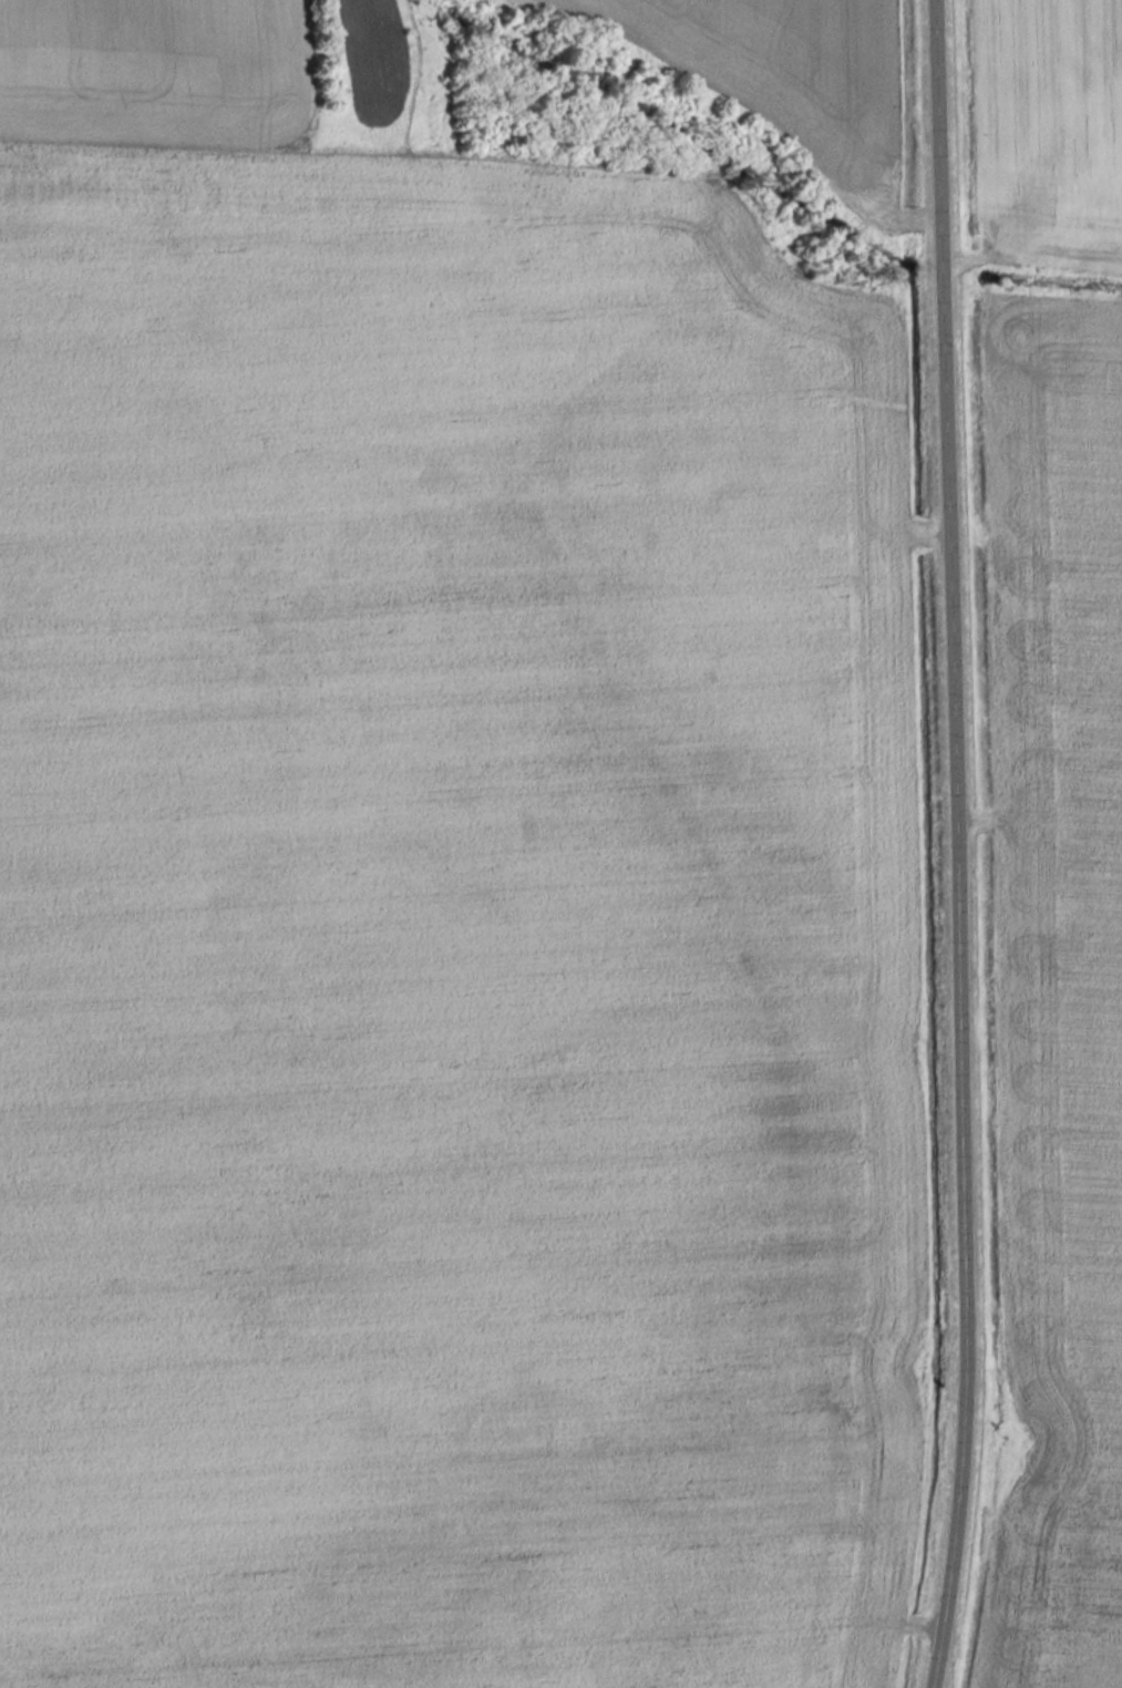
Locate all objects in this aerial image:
road: (951, 845)

